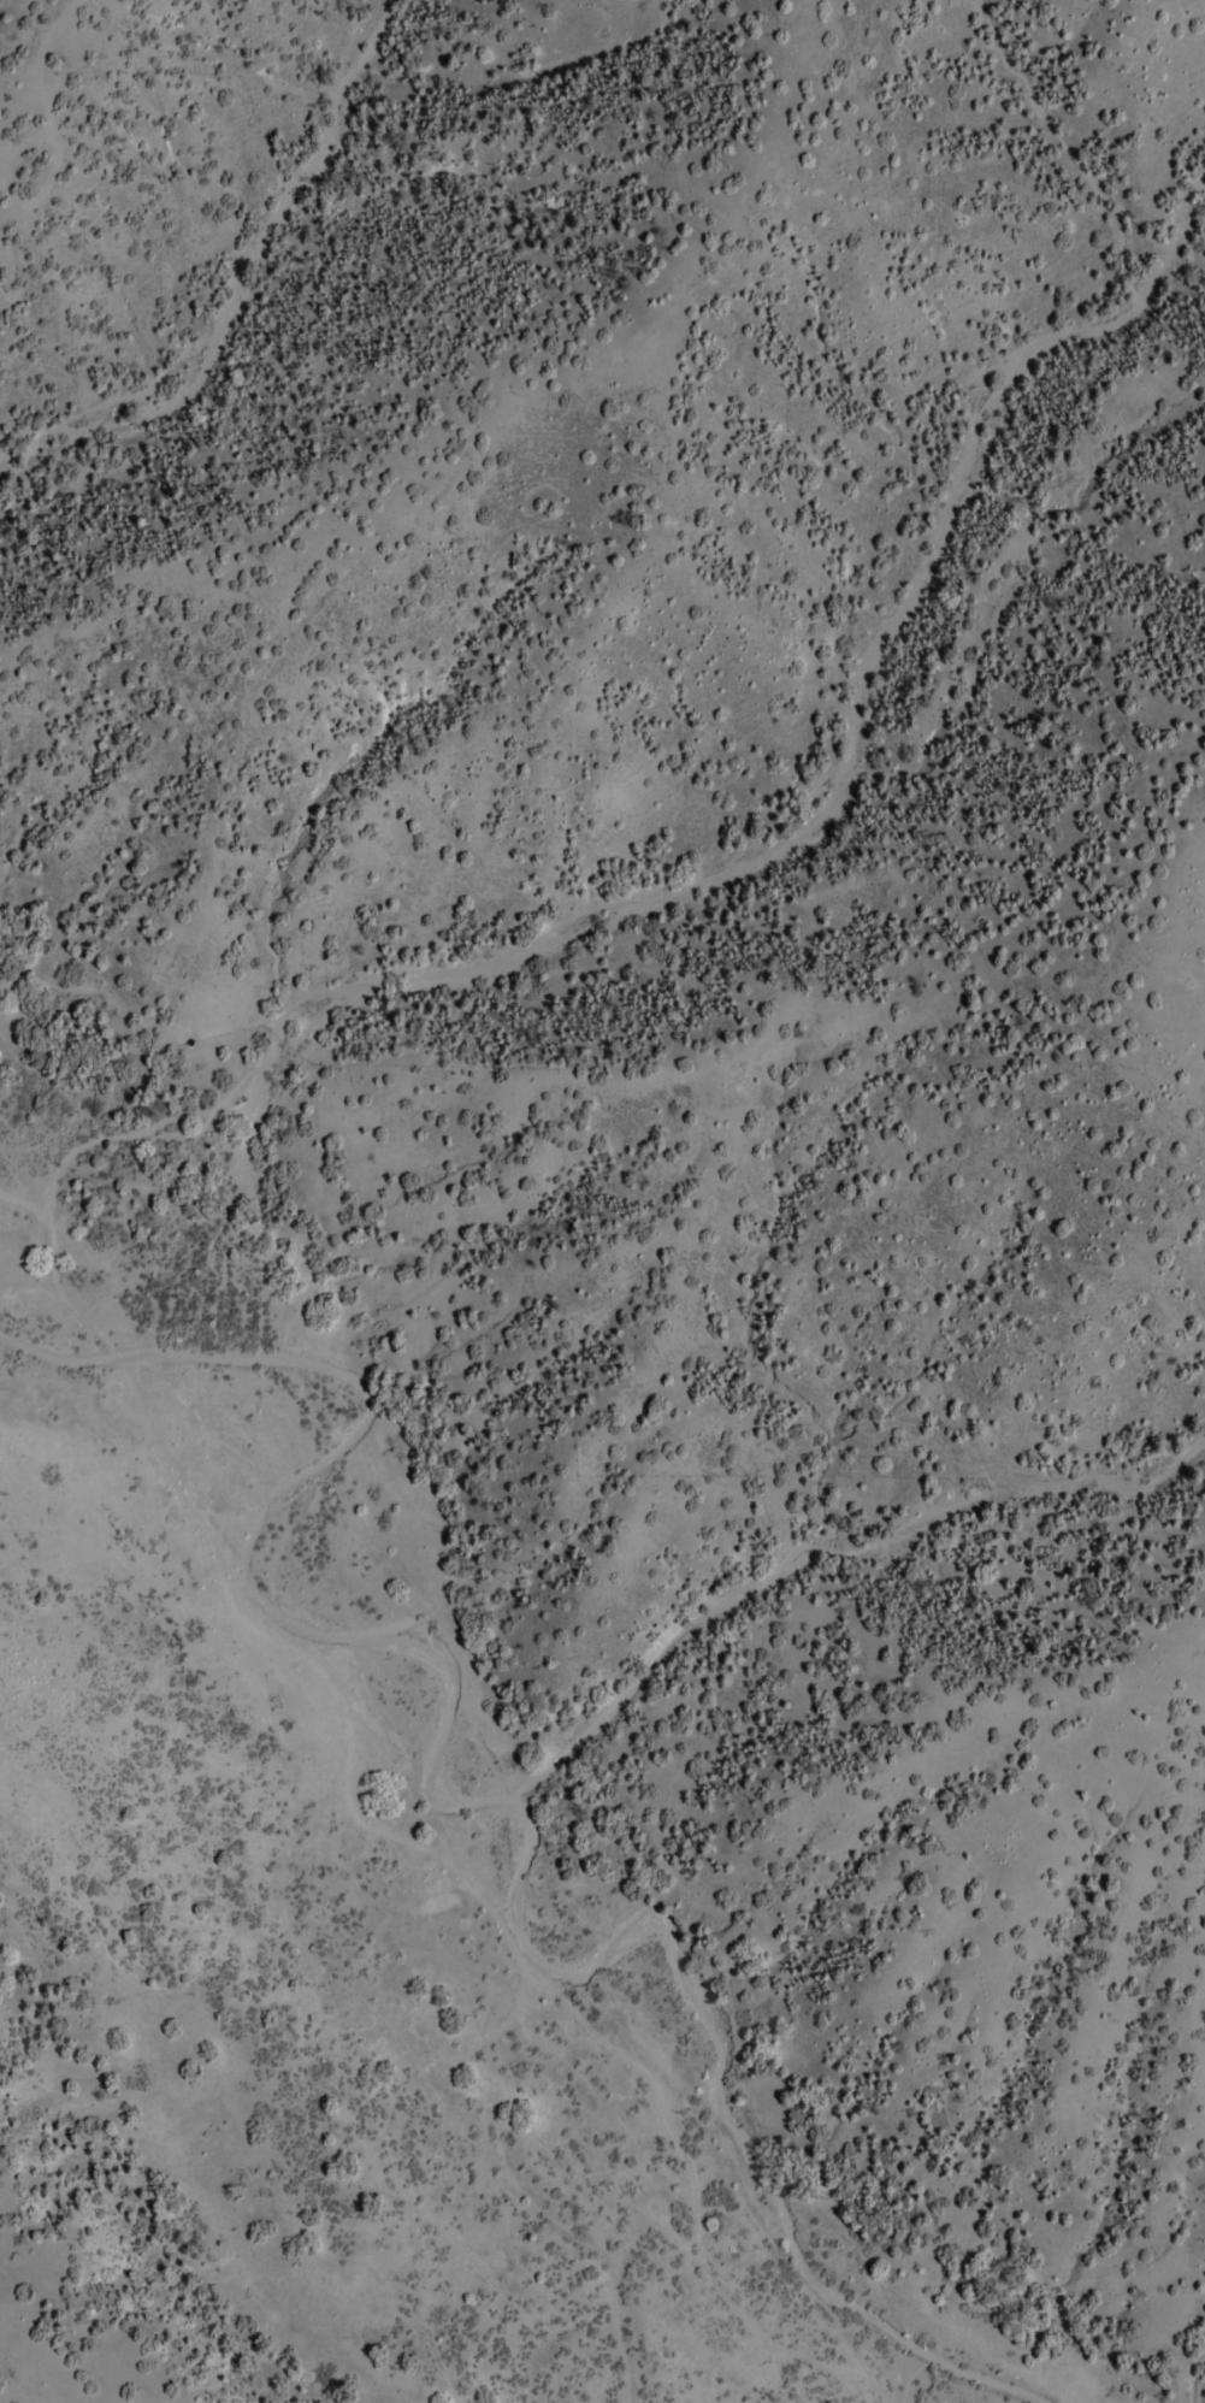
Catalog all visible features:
road: (39, 63)
road: (459, 1872)

